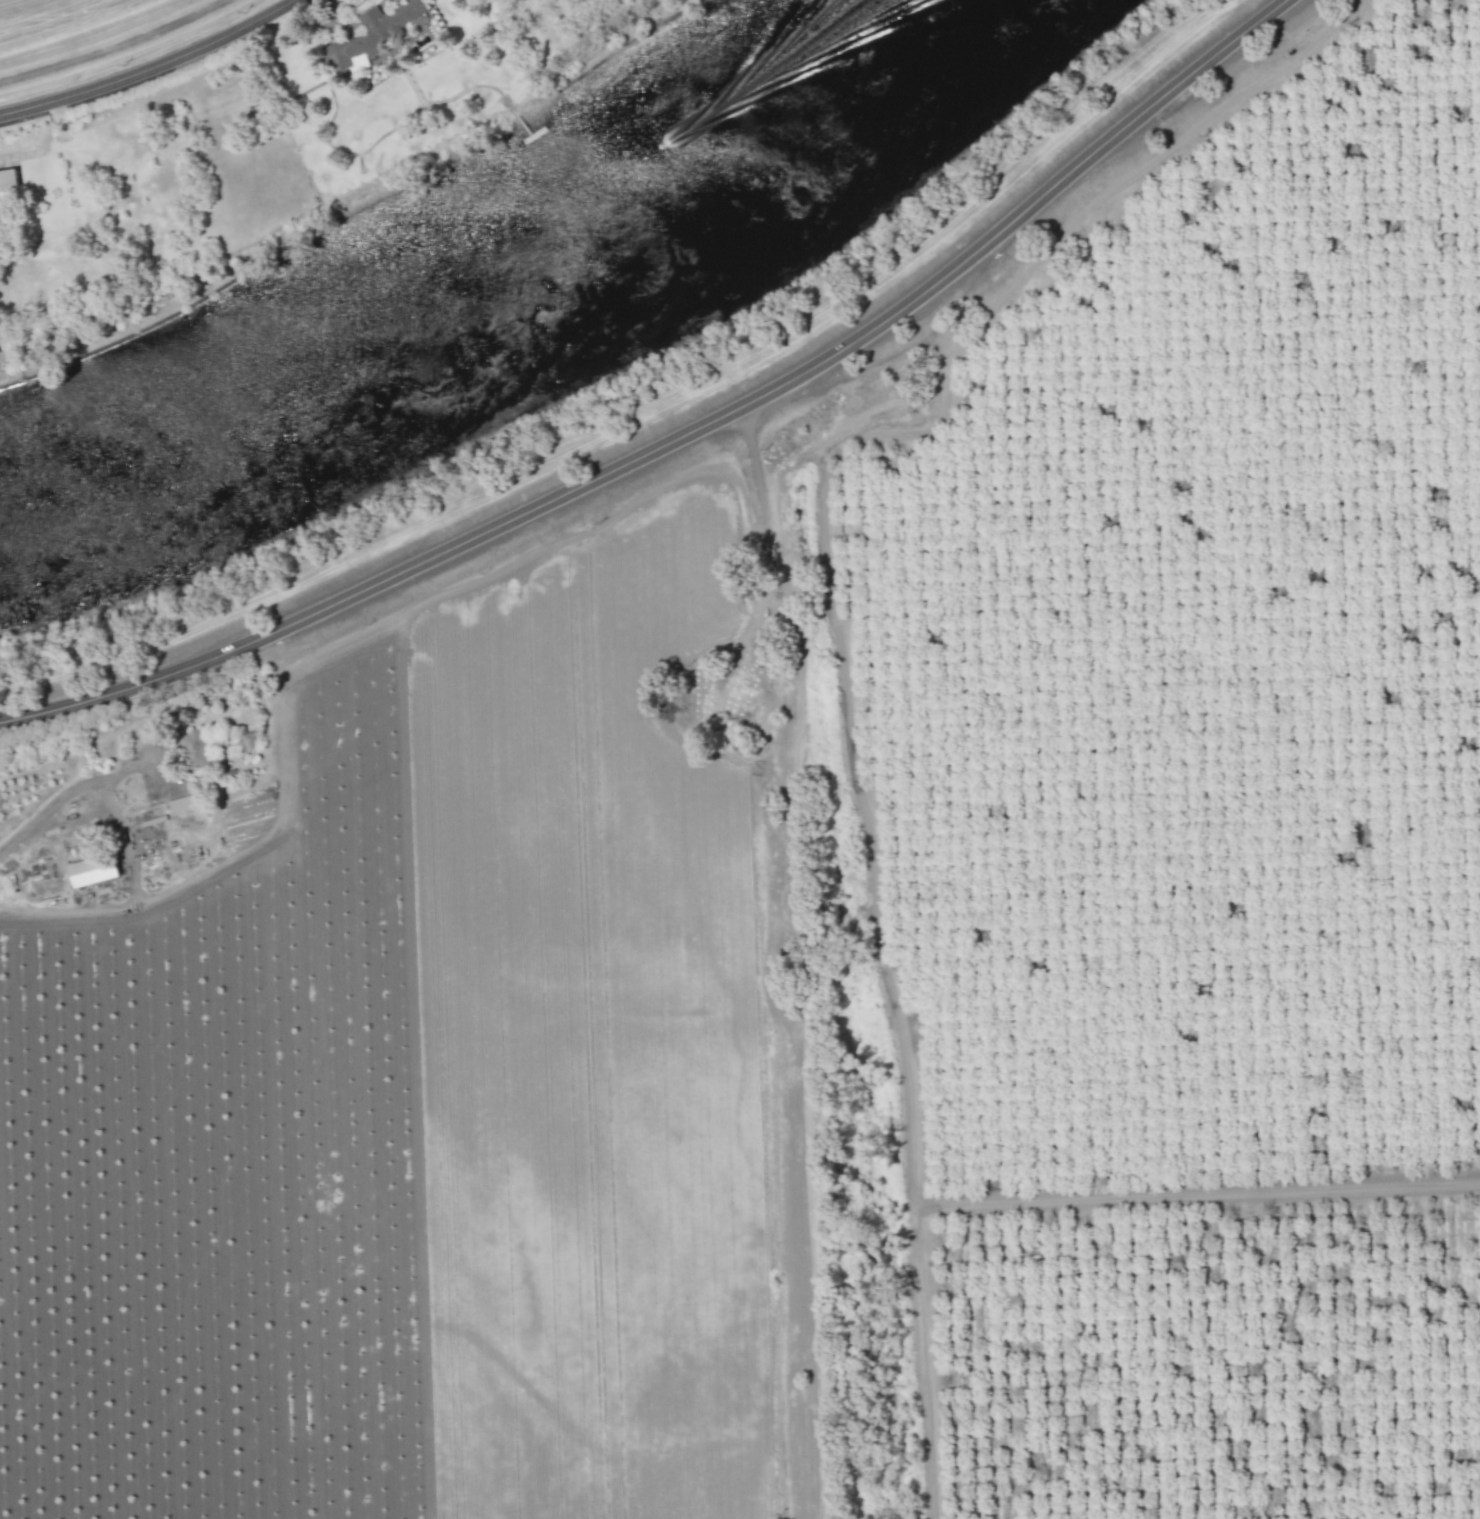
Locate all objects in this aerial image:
building: (372, 34)
road: (154, 69)
building: (8, 178)
river: (496, 288)
road: (685, 433)
building: (248, 740)
building: (194, 749)
road: (78, 792)
building: (180, 804)
crop: (1186, 815)
building: (91, 871)
crop: (408, 1017)

